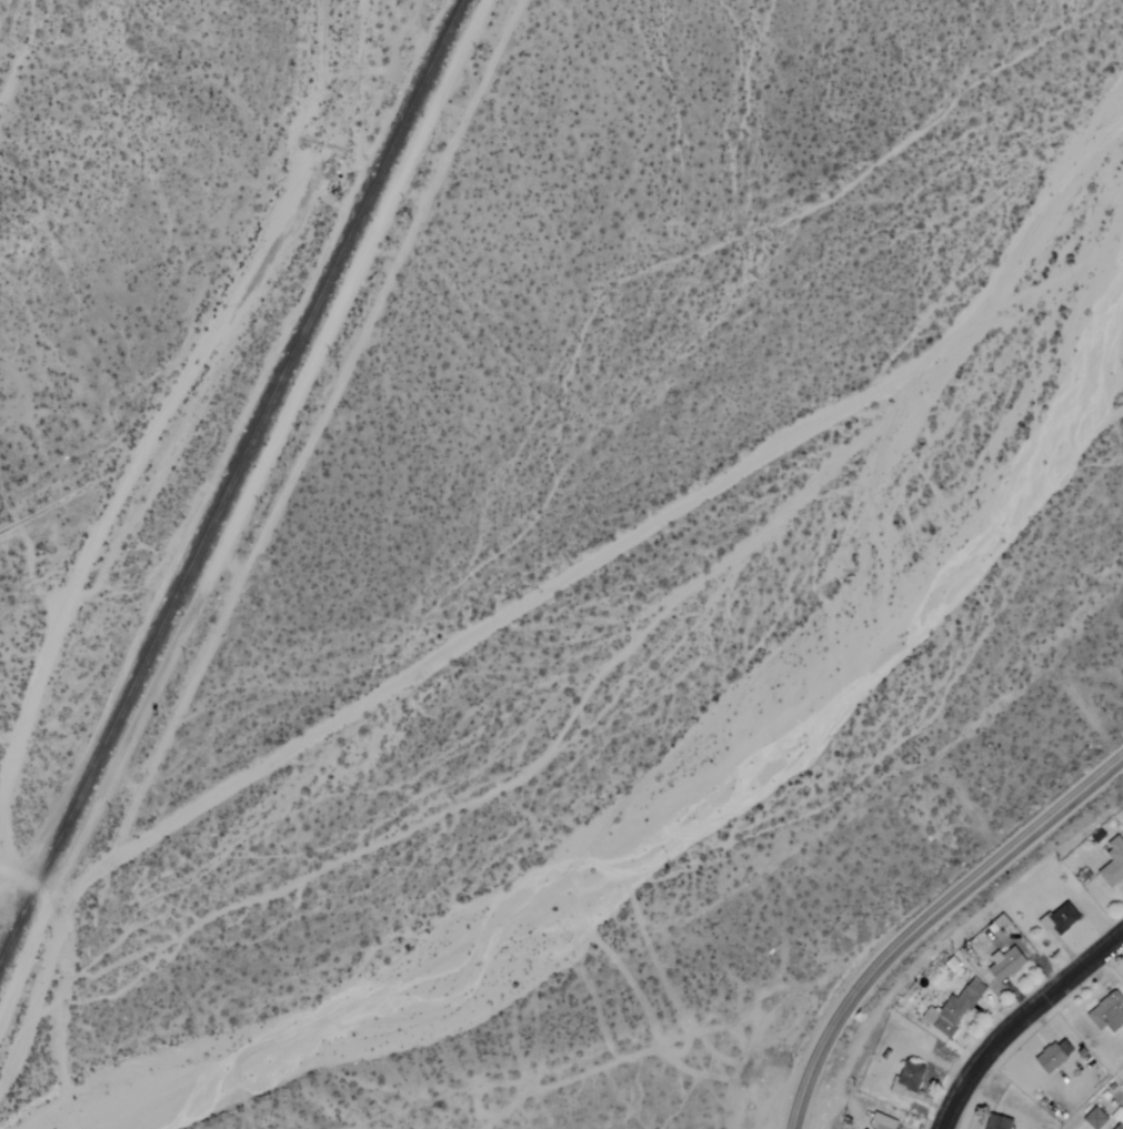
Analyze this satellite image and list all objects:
railway: (231, 484)
road: (239, 510)
building: (1113, 864)
road: (24, 881)
building: (1061, 918)
road: (928, 919)
building: (1002, 923)
building: (1006, 962)
building: (954, 1008)
building: (1107, 1014)
road: (1019, 1019)
road: (682, 1038)
building: (1055, 1055)
building: (909, 1077)
building: (1096, 1118)
building: (883, 1122)
building: (999, 1122)
building: (1120, 1125)

